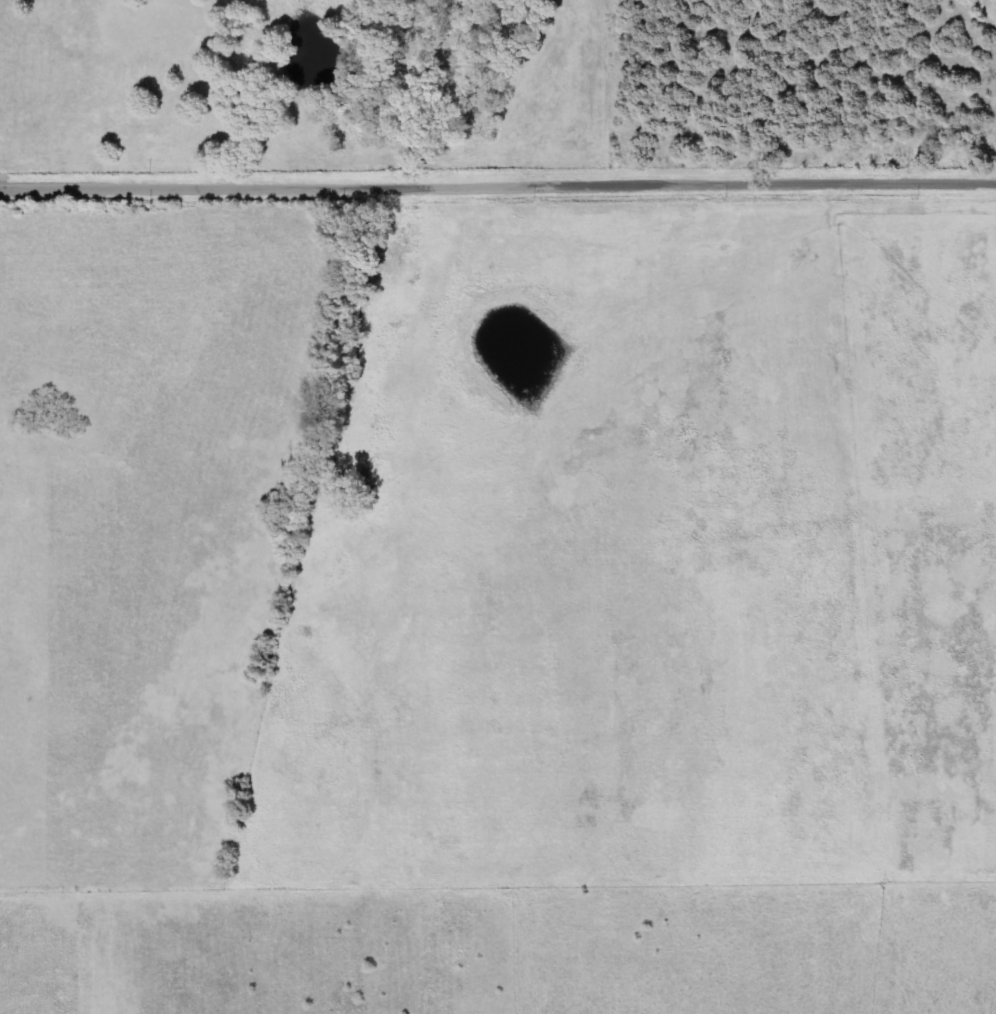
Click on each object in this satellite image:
road: (706, 184)
road: (208, 187)

